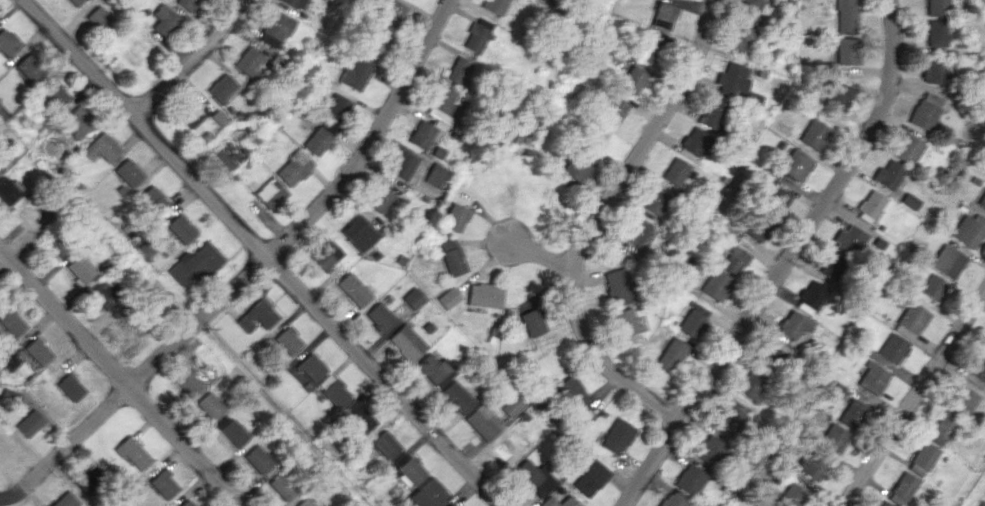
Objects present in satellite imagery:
road: (189, 57)
road: (310, 209)
road: (596, 220)
road: (530, 251)
road: (265, 252)
road: (1, 253)
road: (785, 262)
road: (121, 377)
road: (913, 396)
road: (67, 444)
road: (2, 501)

